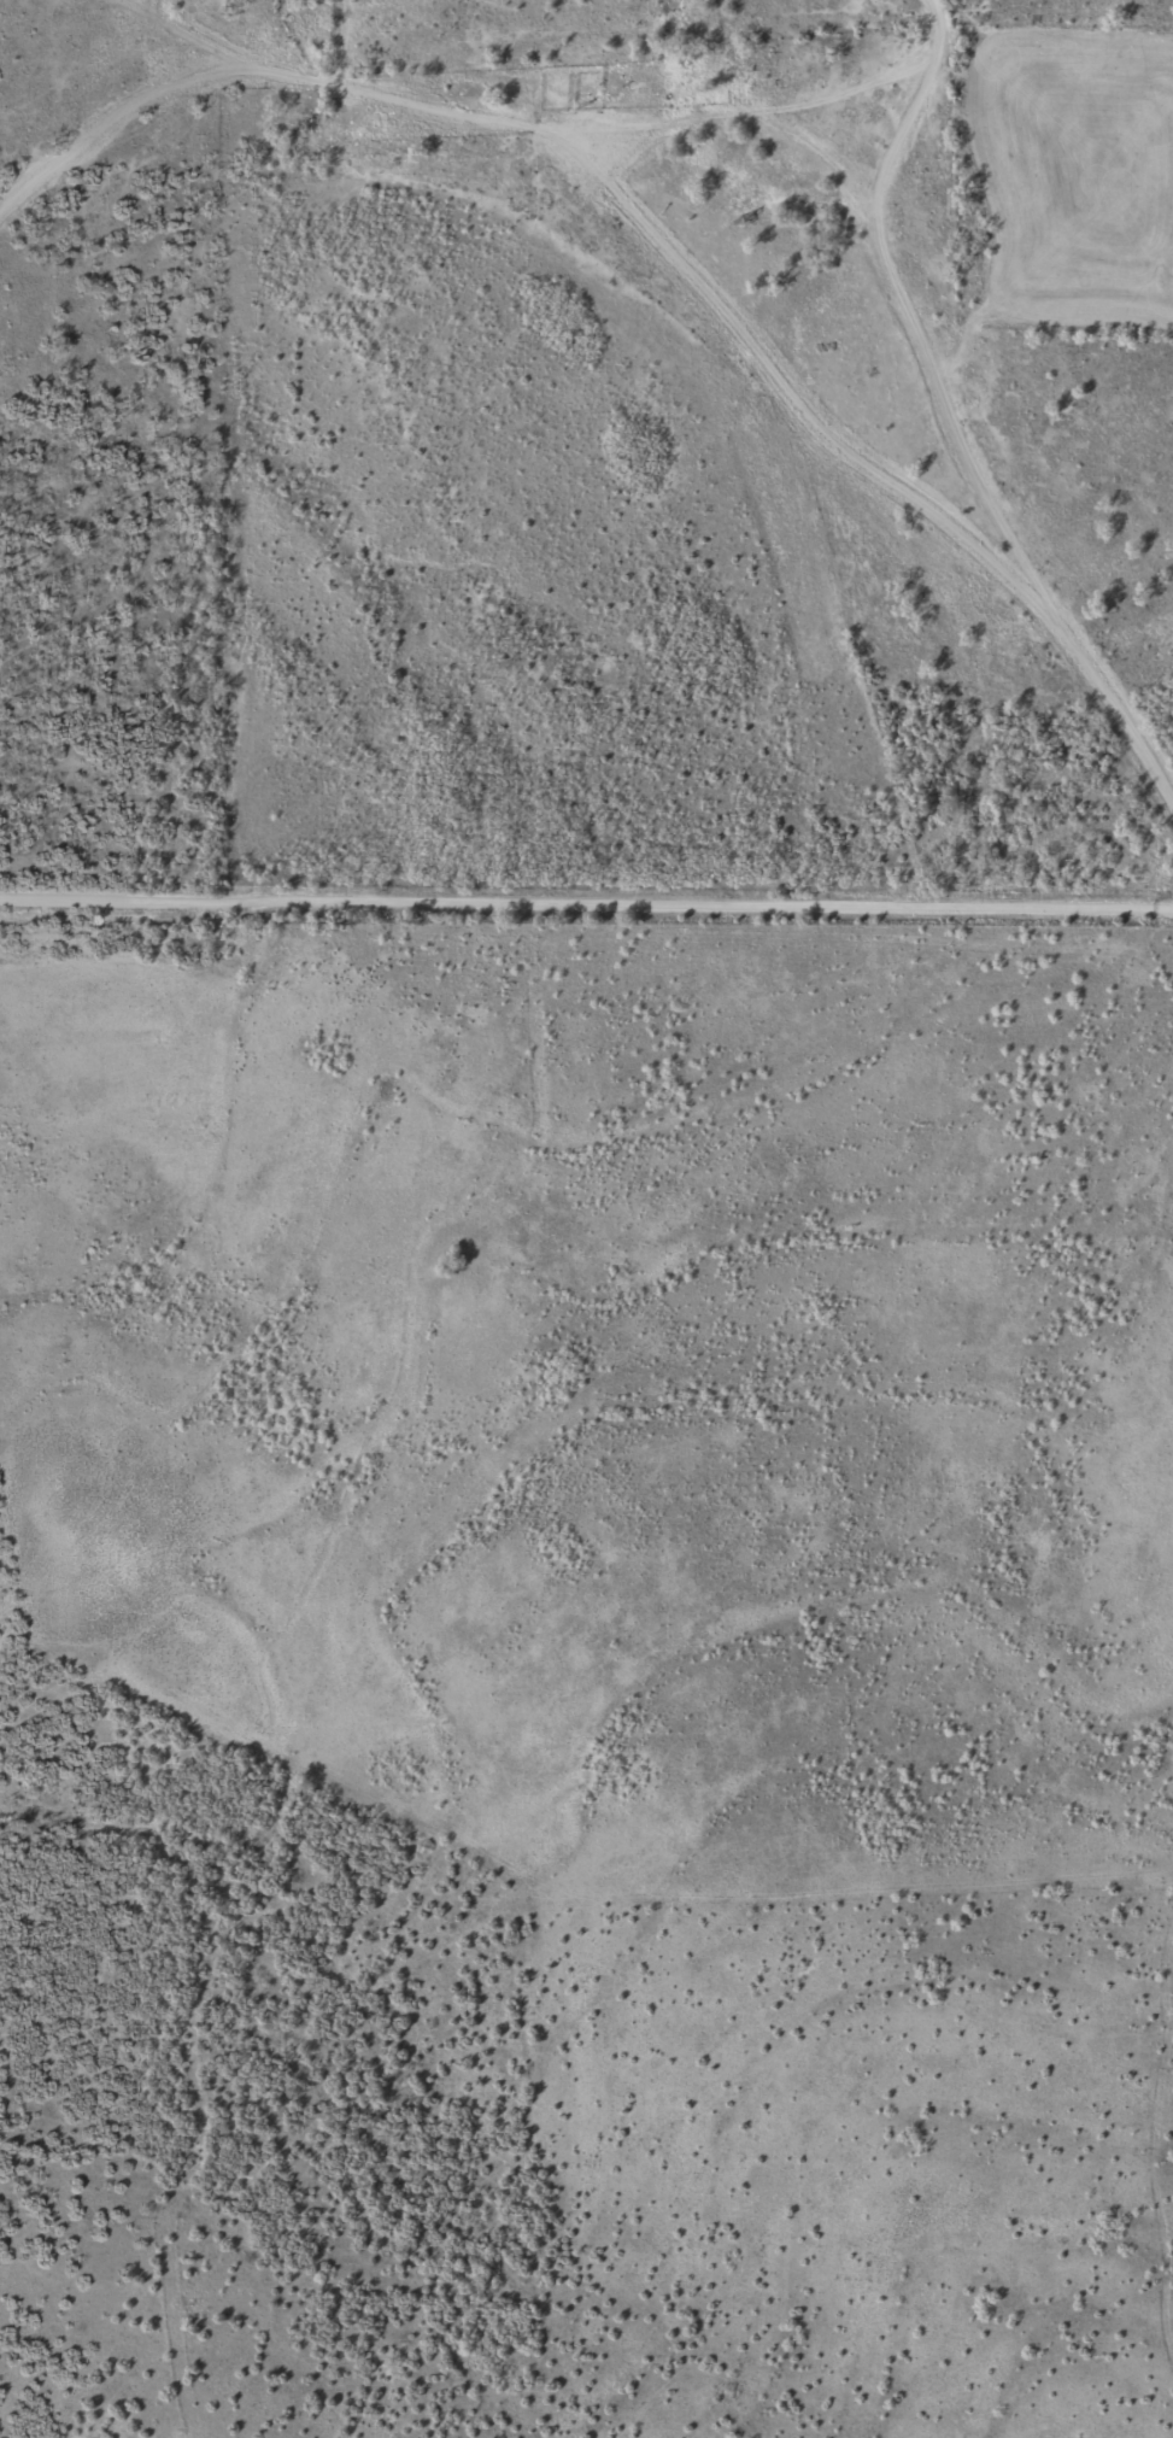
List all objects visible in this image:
road: (479, 83)
road: (626, 245)
road: (967, 449)
road: (708, 909)

